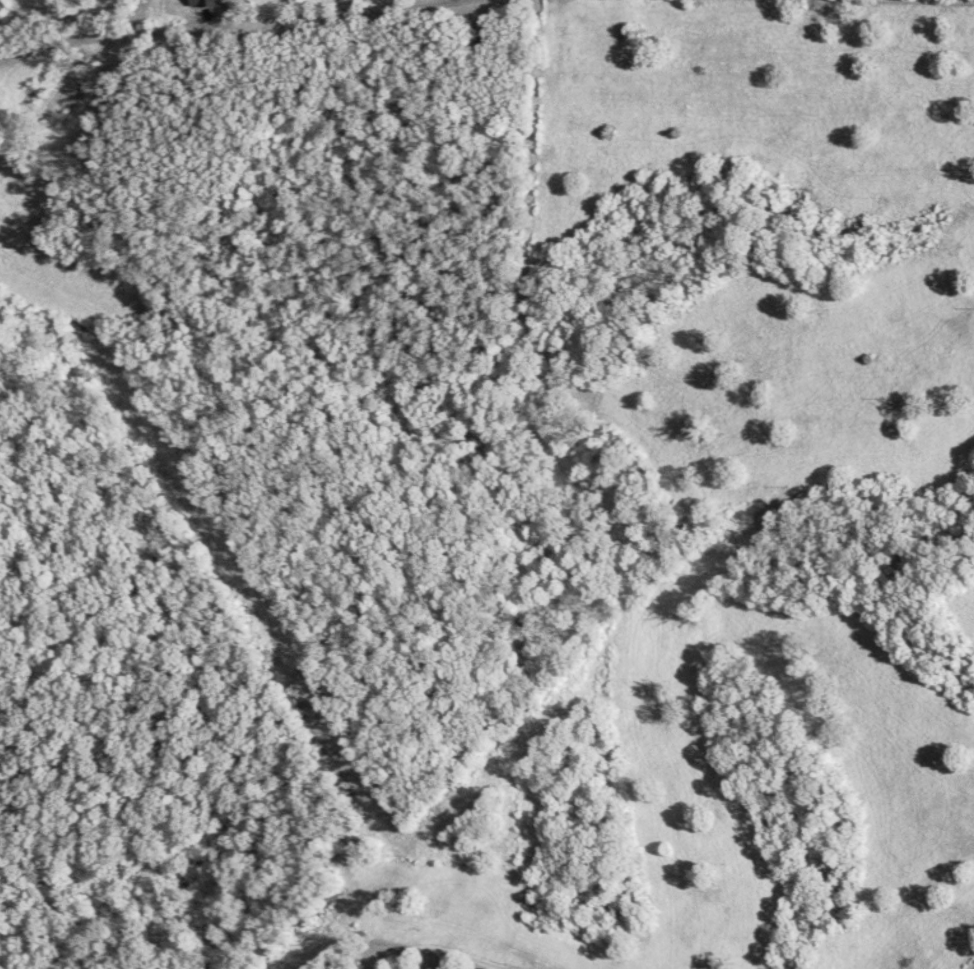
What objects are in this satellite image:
building: (208, 3)
road: (220, 22)

